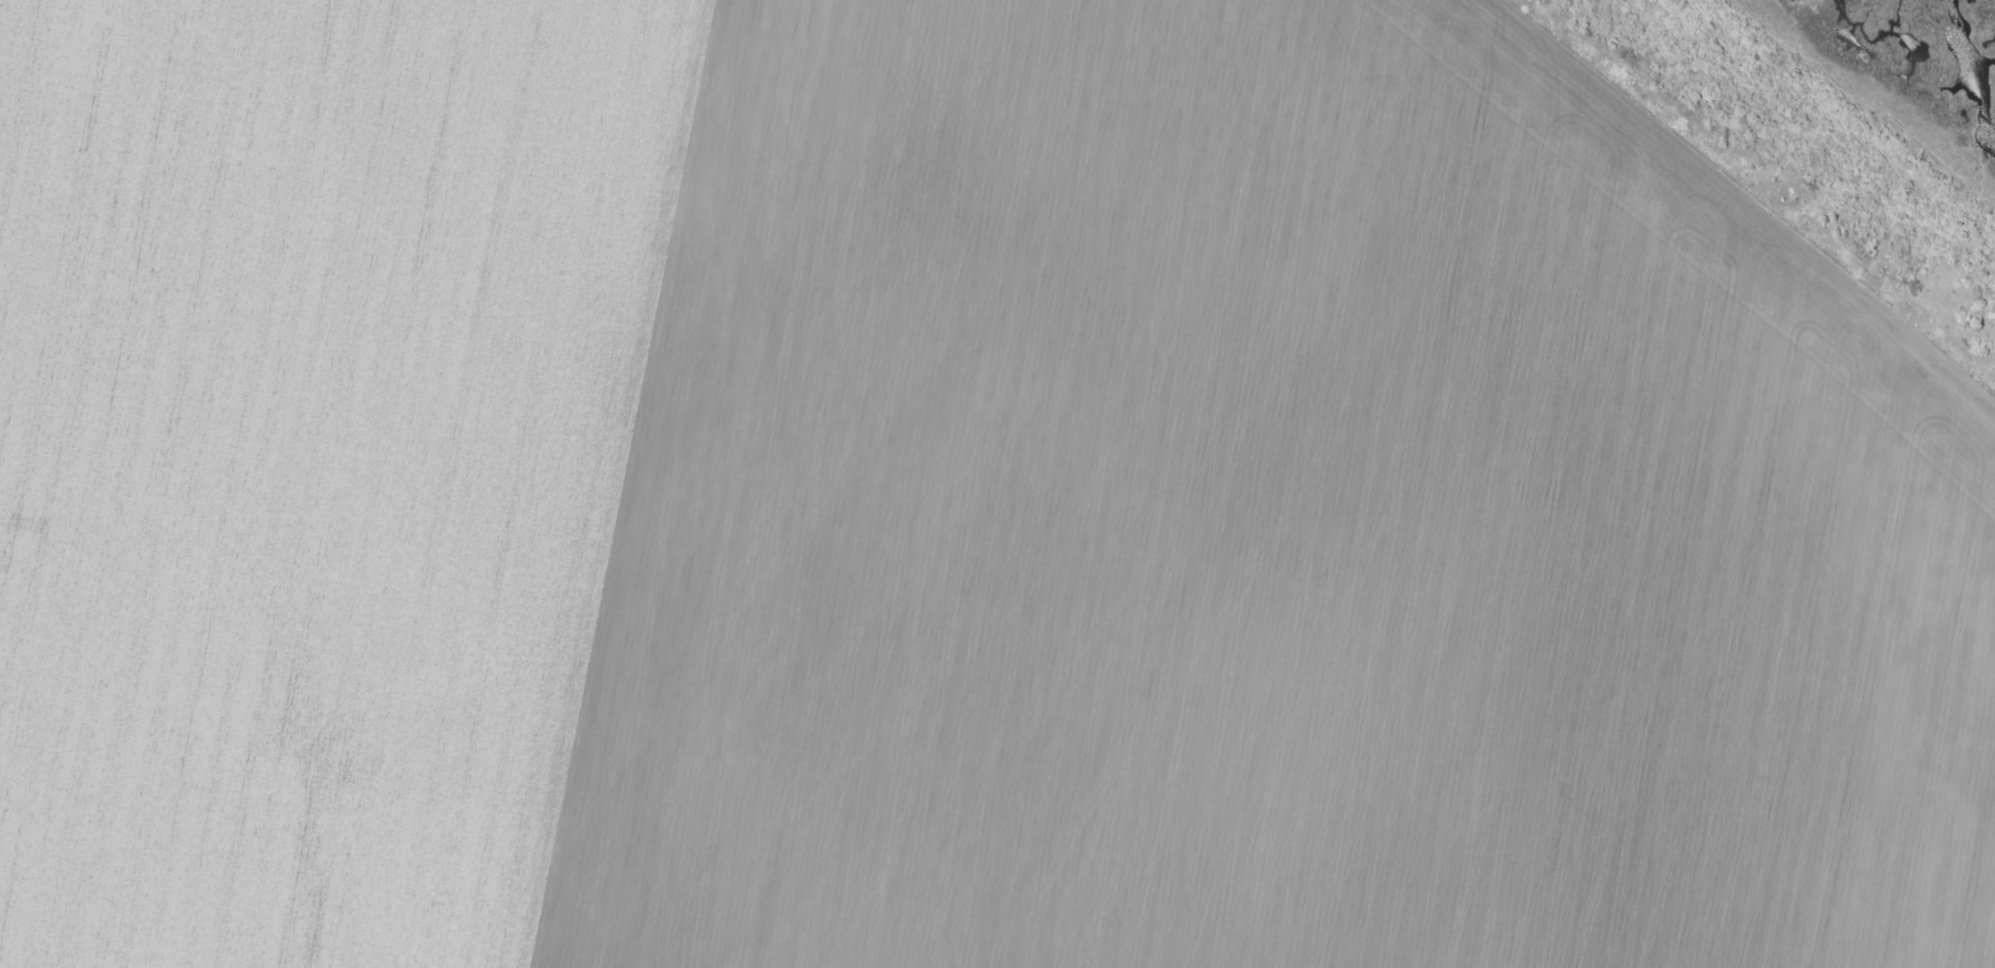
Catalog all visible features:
road: (1728, 221)

